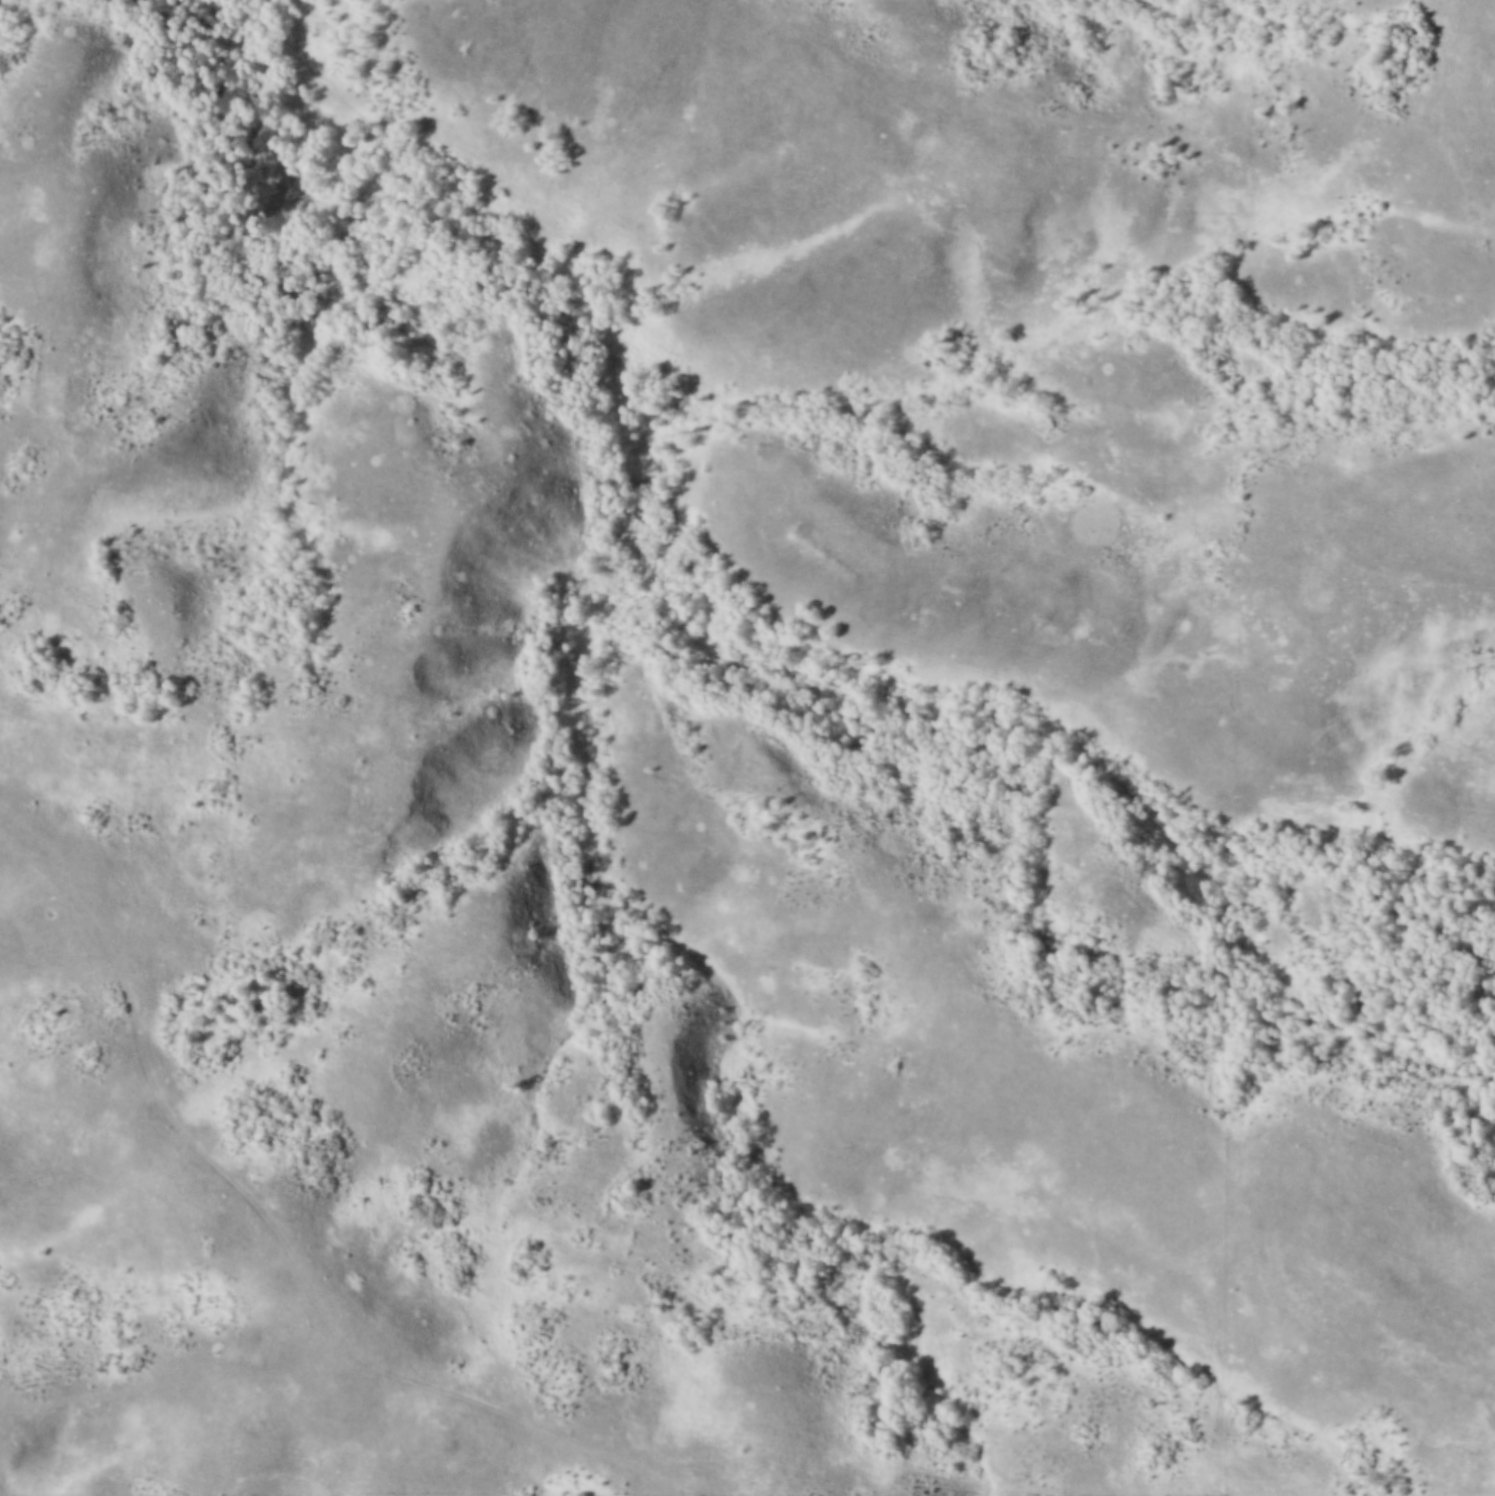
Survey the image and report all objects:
road: (285, 1232)

